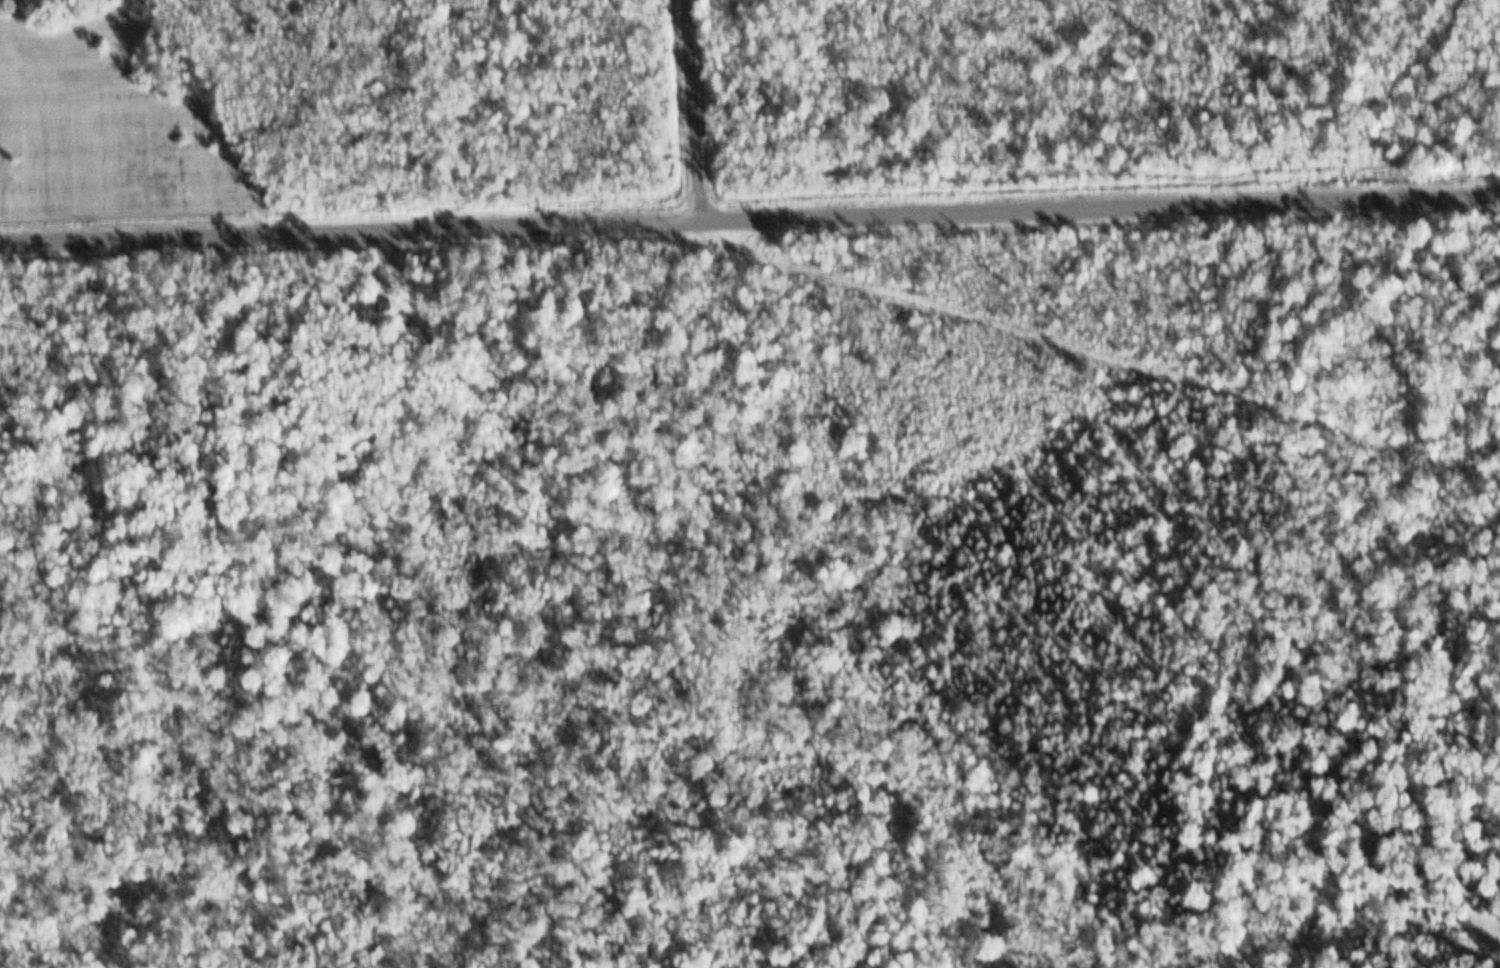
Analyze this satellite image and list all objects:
road: (693, 108)
road: (750, 217)

